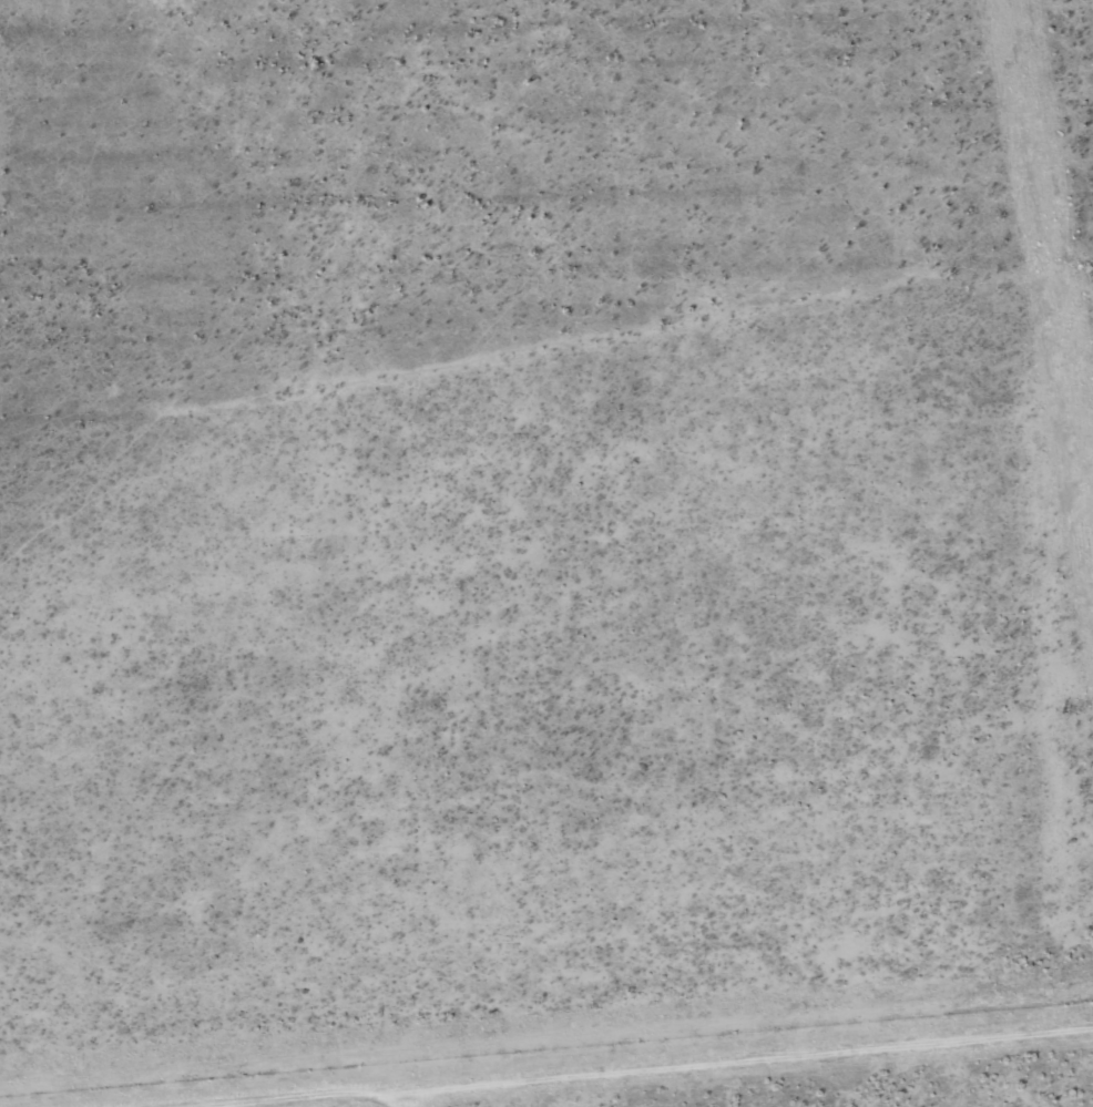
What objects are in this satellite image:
road: (255, 1033)

